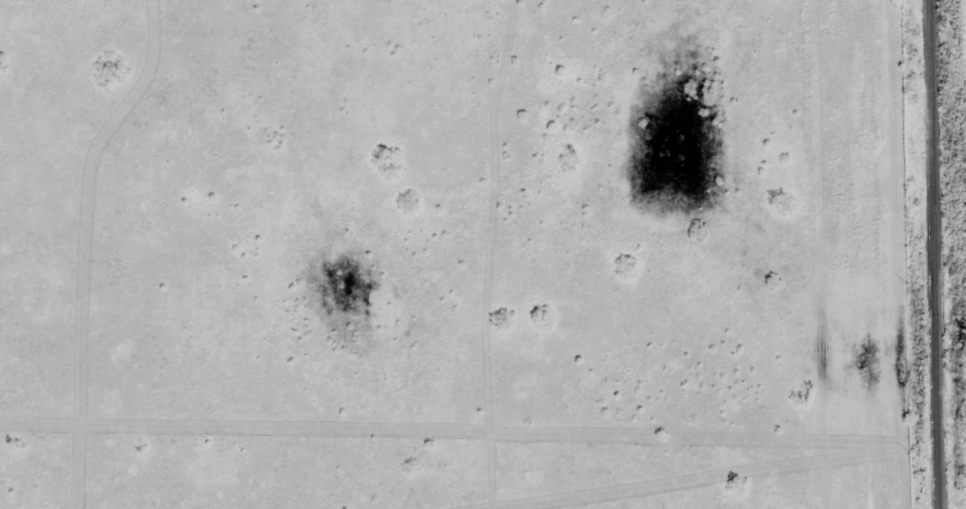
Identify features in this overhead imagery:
railway: (935, 254)

